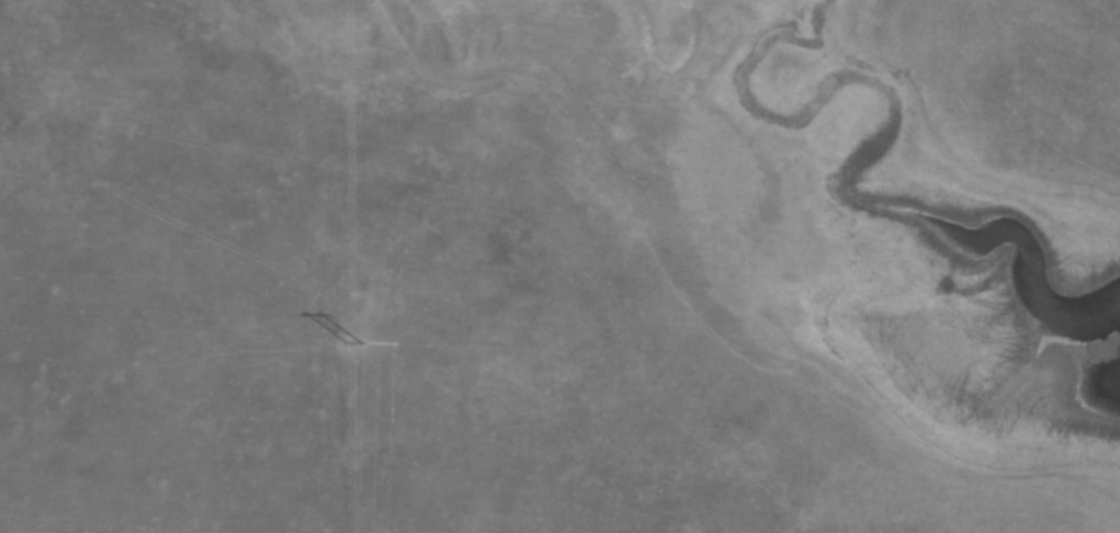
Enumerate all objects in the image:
power tower: (352, 447)

